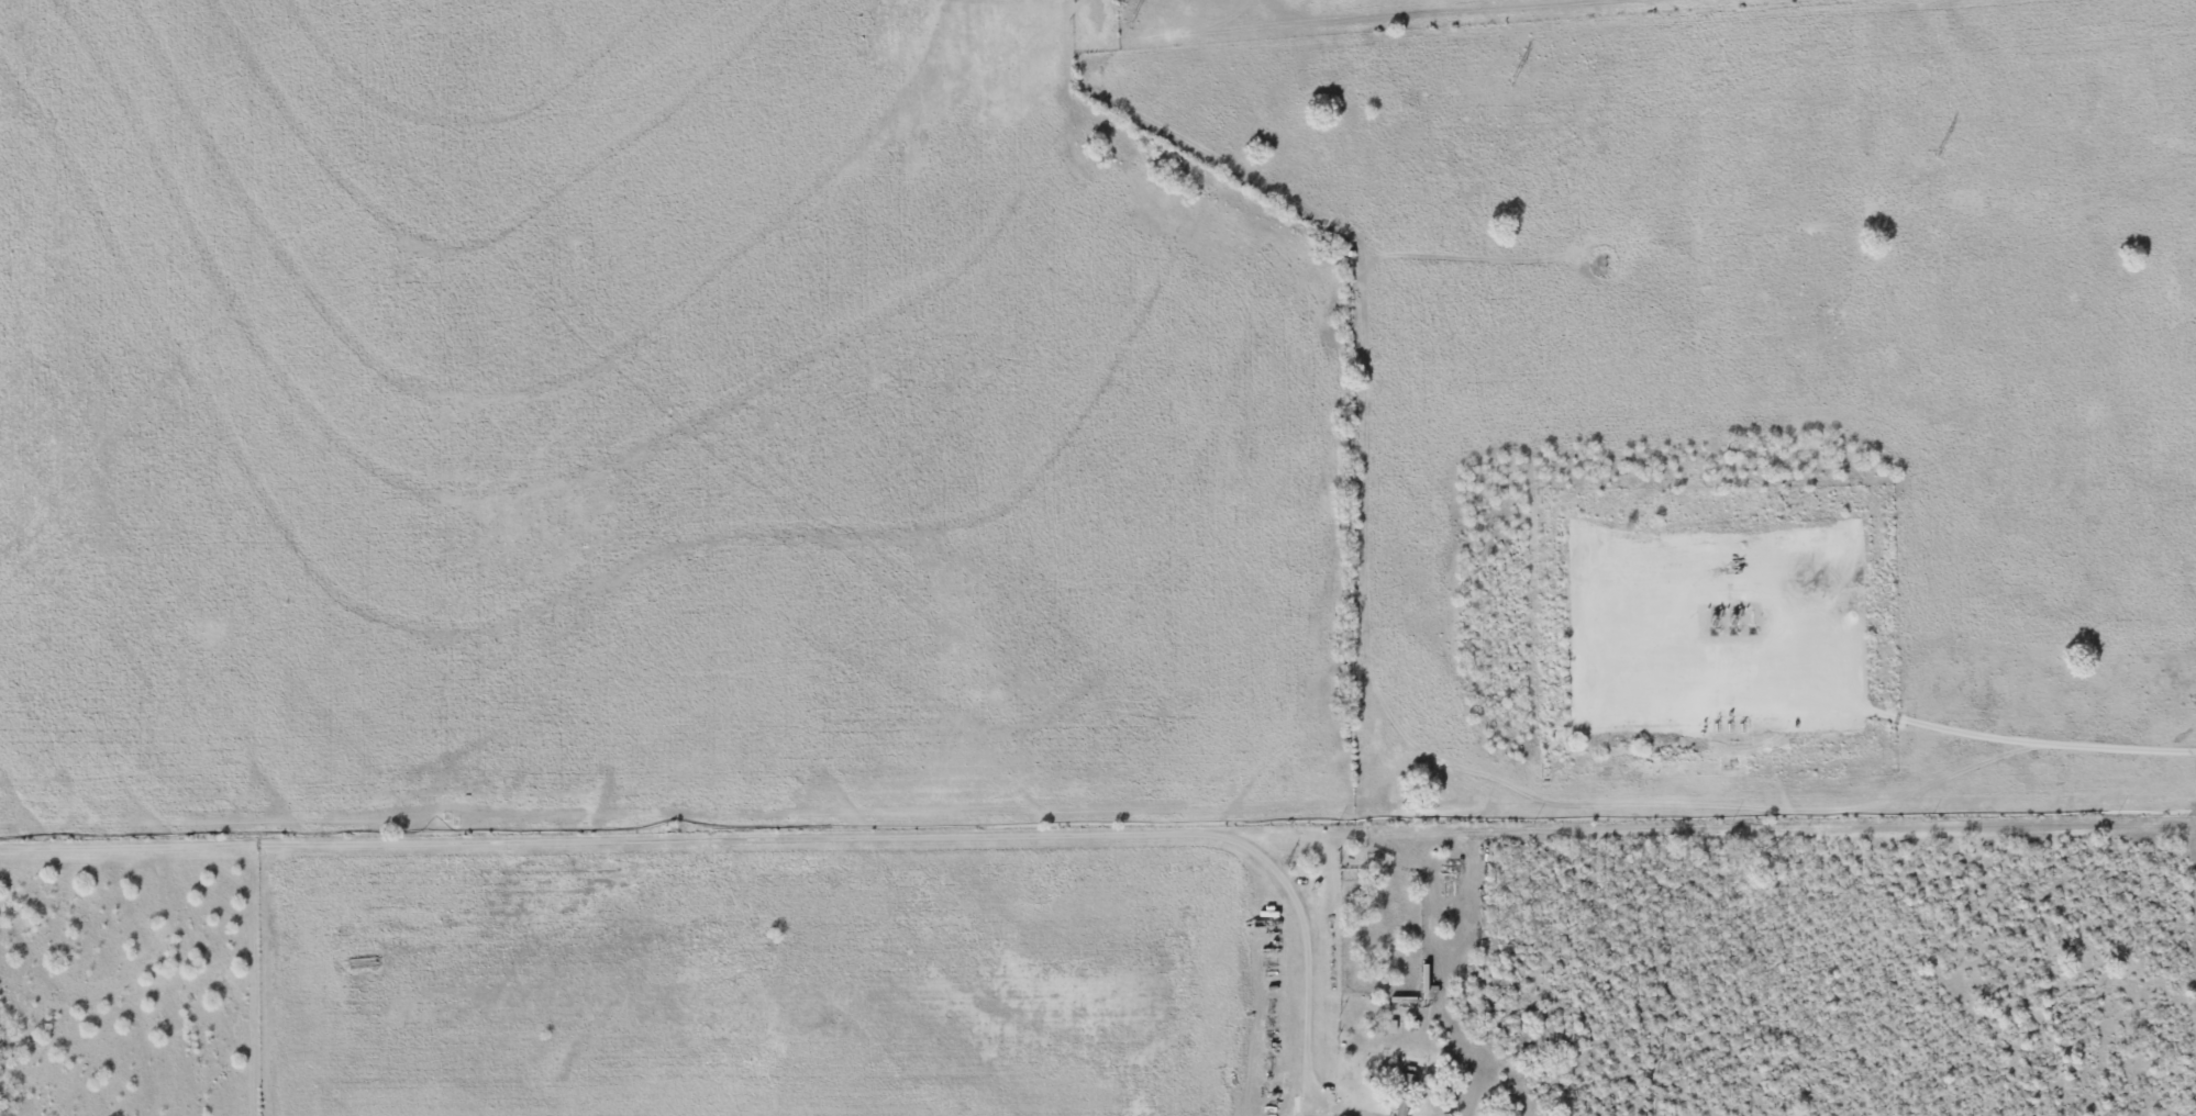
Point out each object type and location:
power tower: (1130, 20)
power tower: (1511, 82)
power tower: (1937, 155)
road: (757, 839)
building: (1402, 1095)

